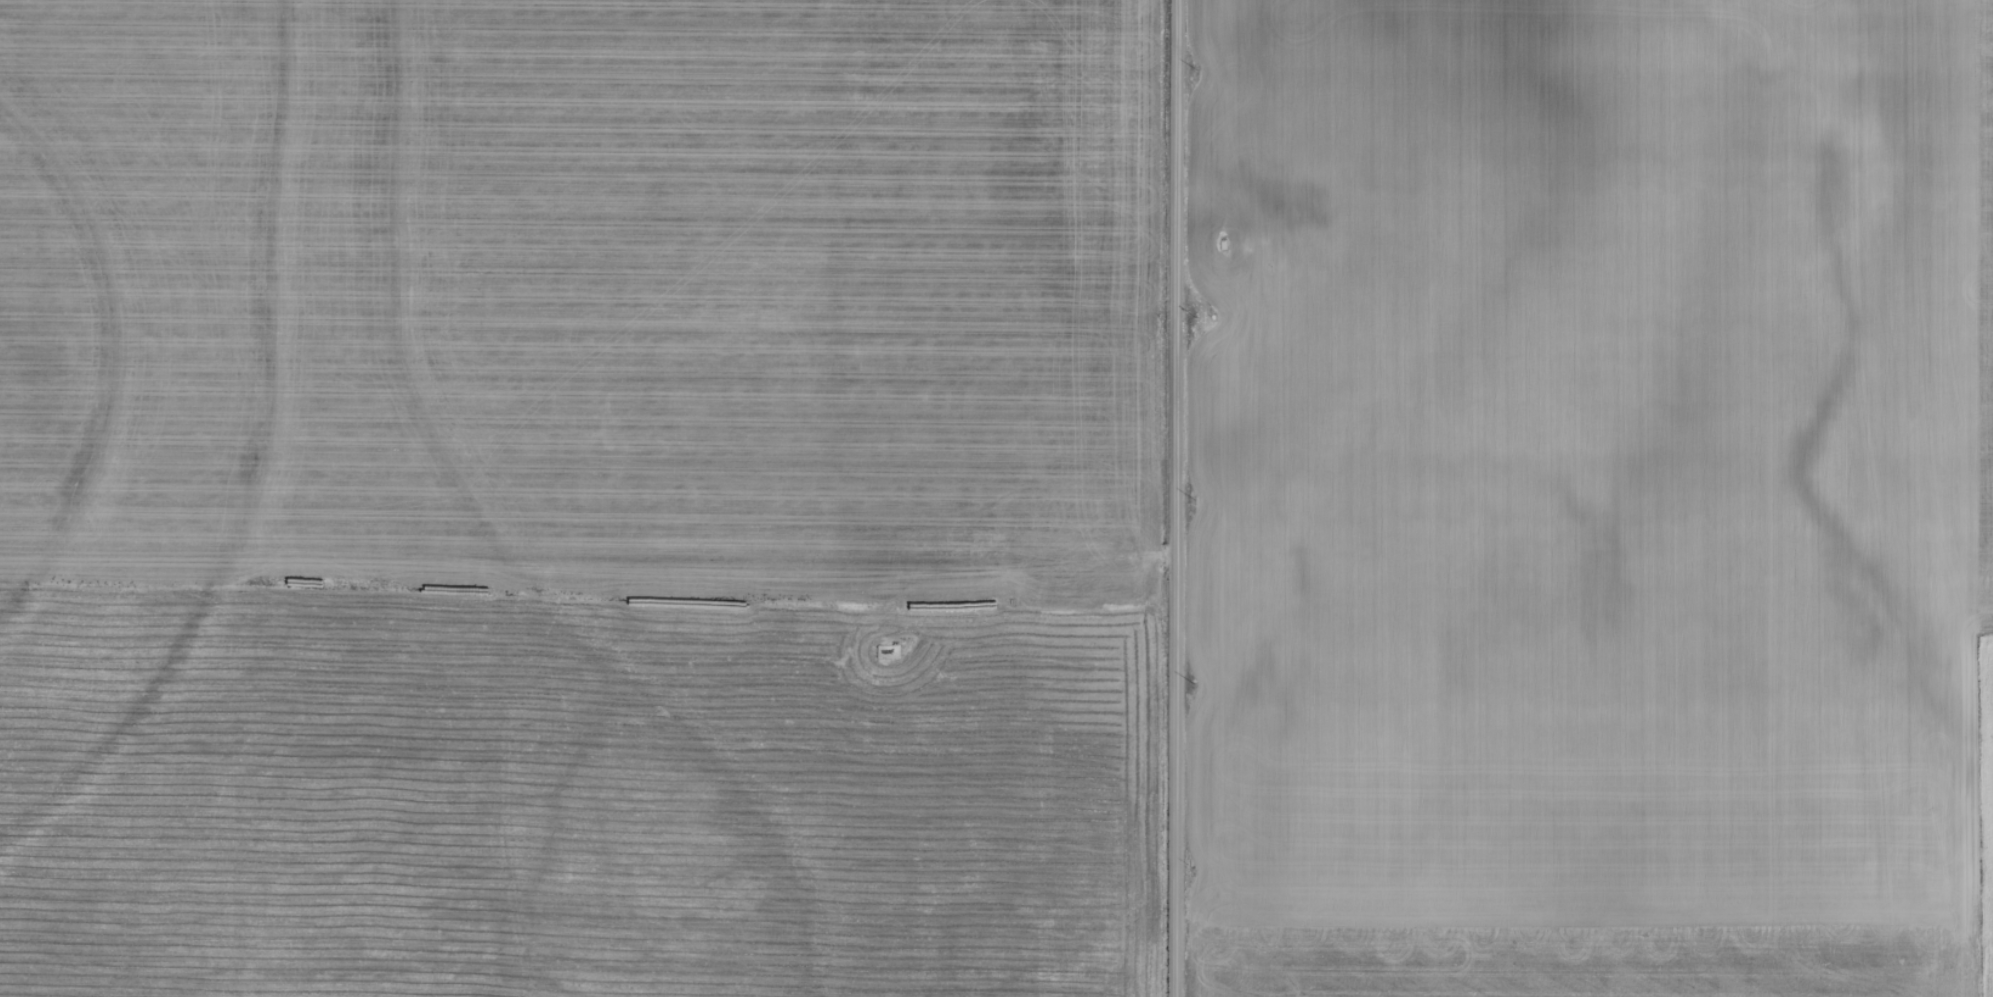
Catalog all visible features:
road: (1161, 498)

